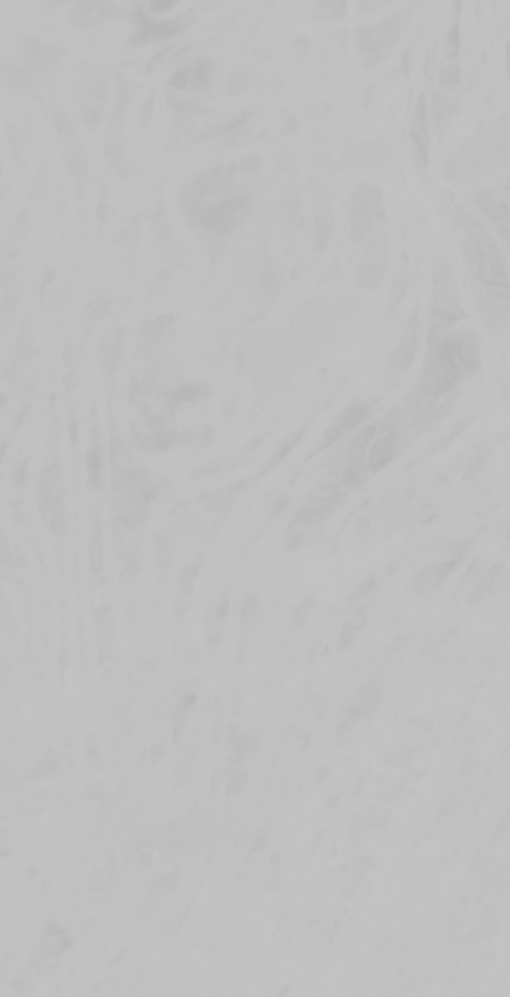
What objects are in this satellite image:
building: (509, 10)
building: (509, 204)
building: (479, 917)
building: (509, 983)

